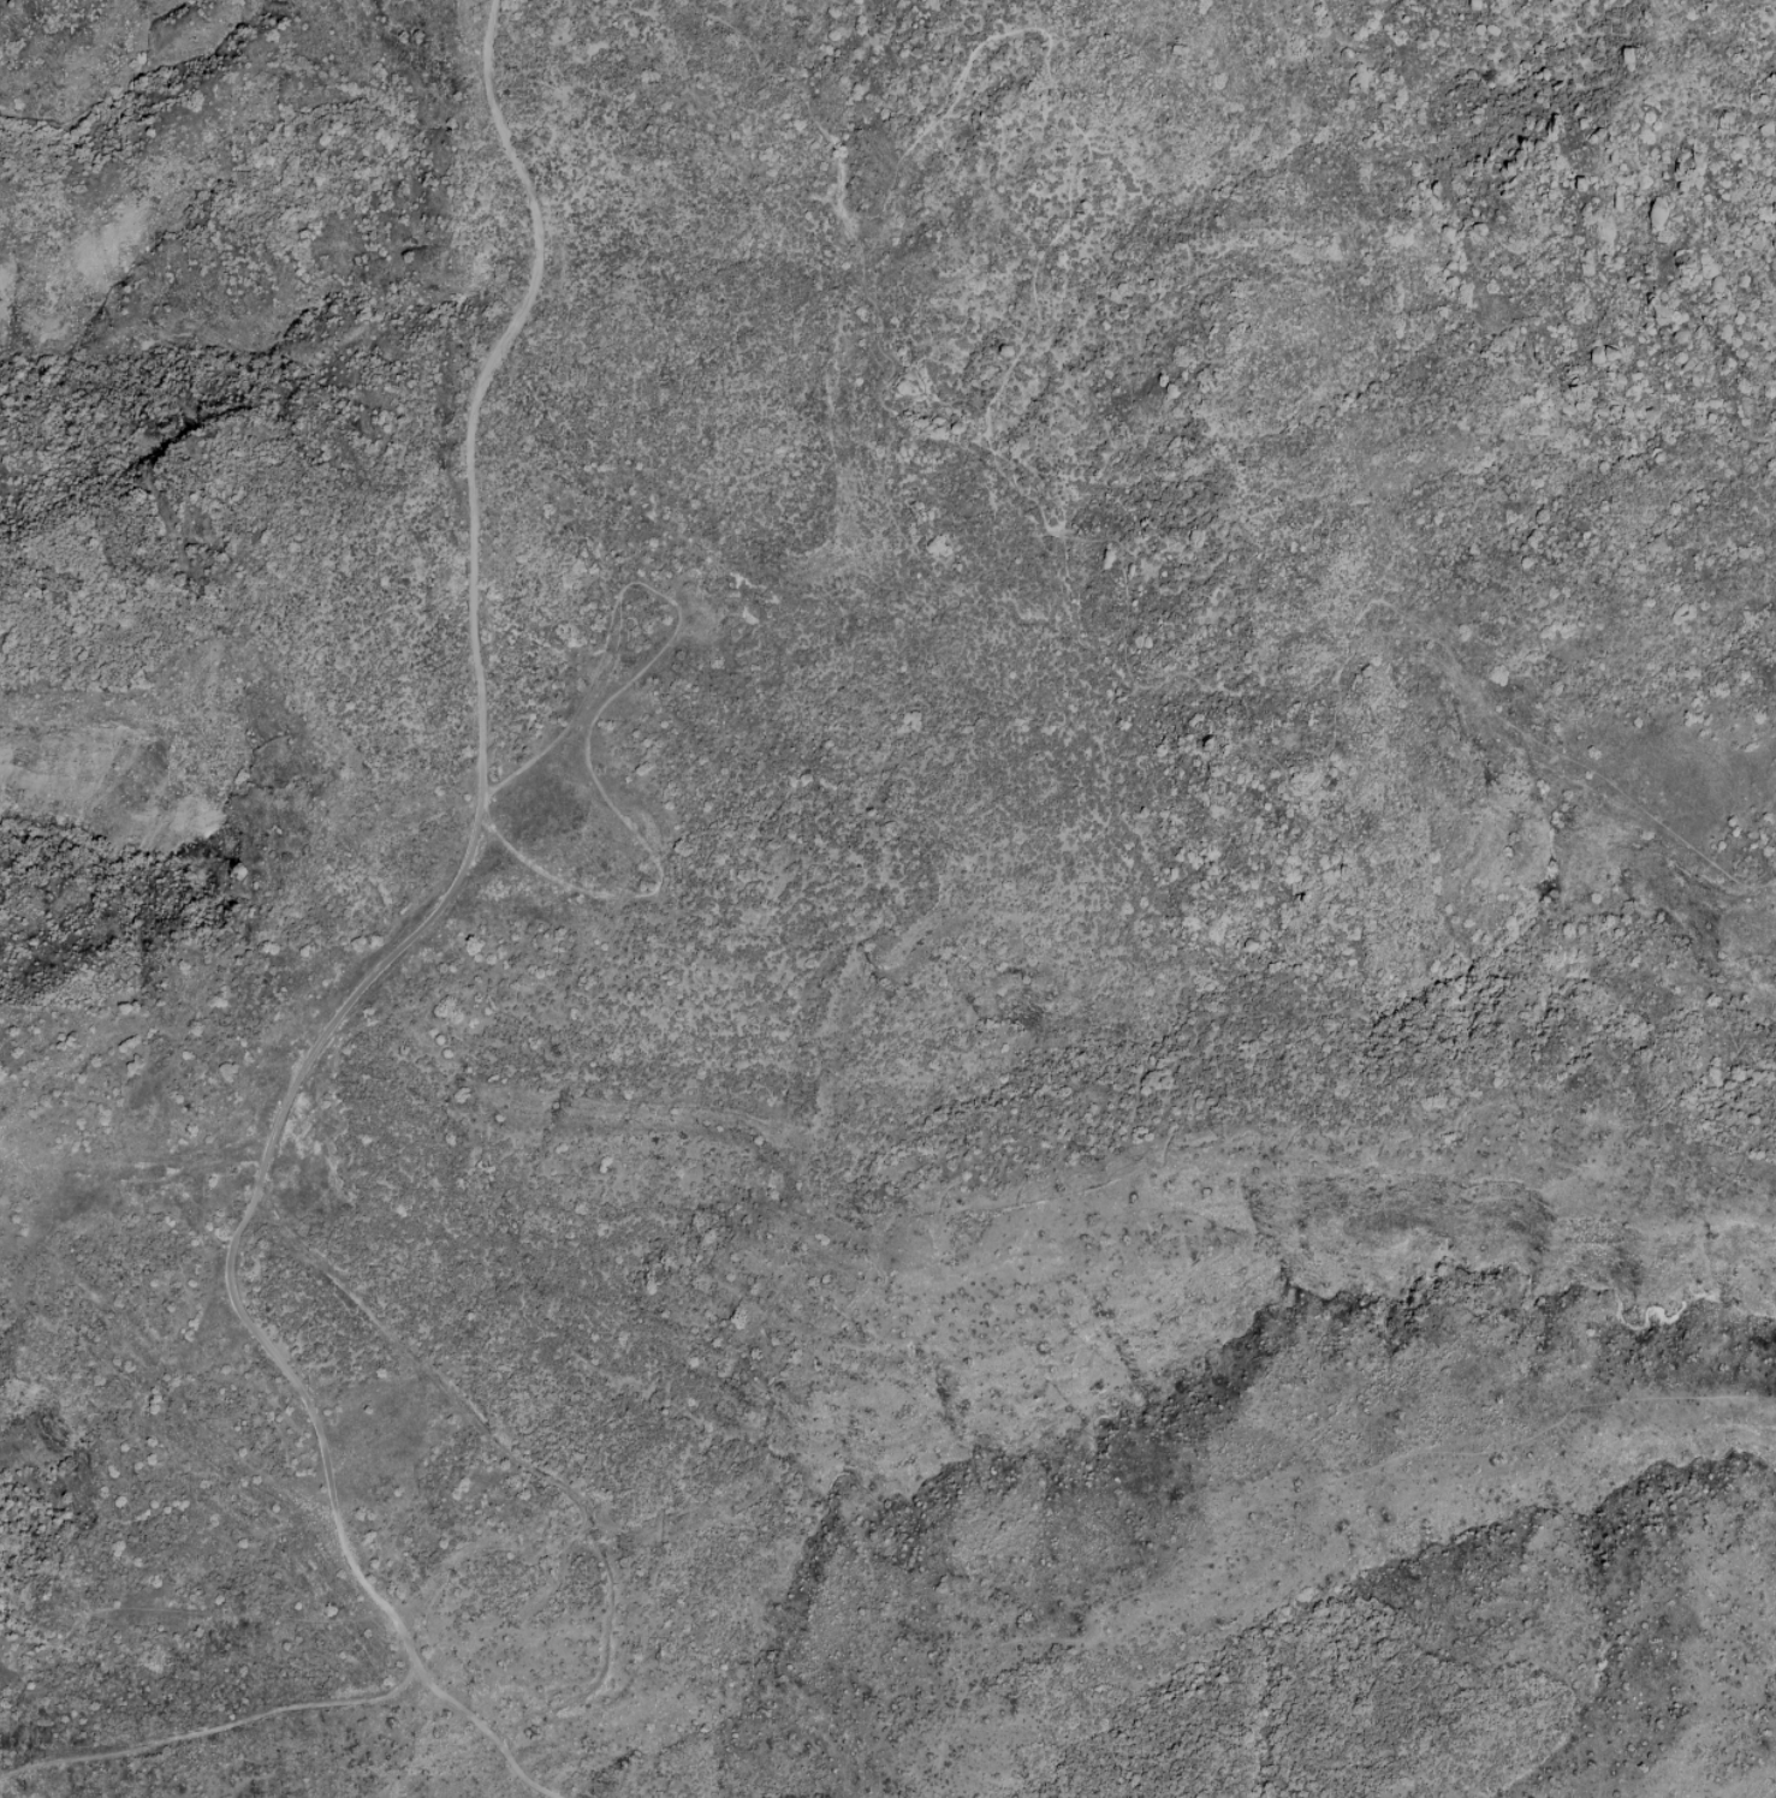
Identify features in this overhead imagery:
road: (333, 953)

